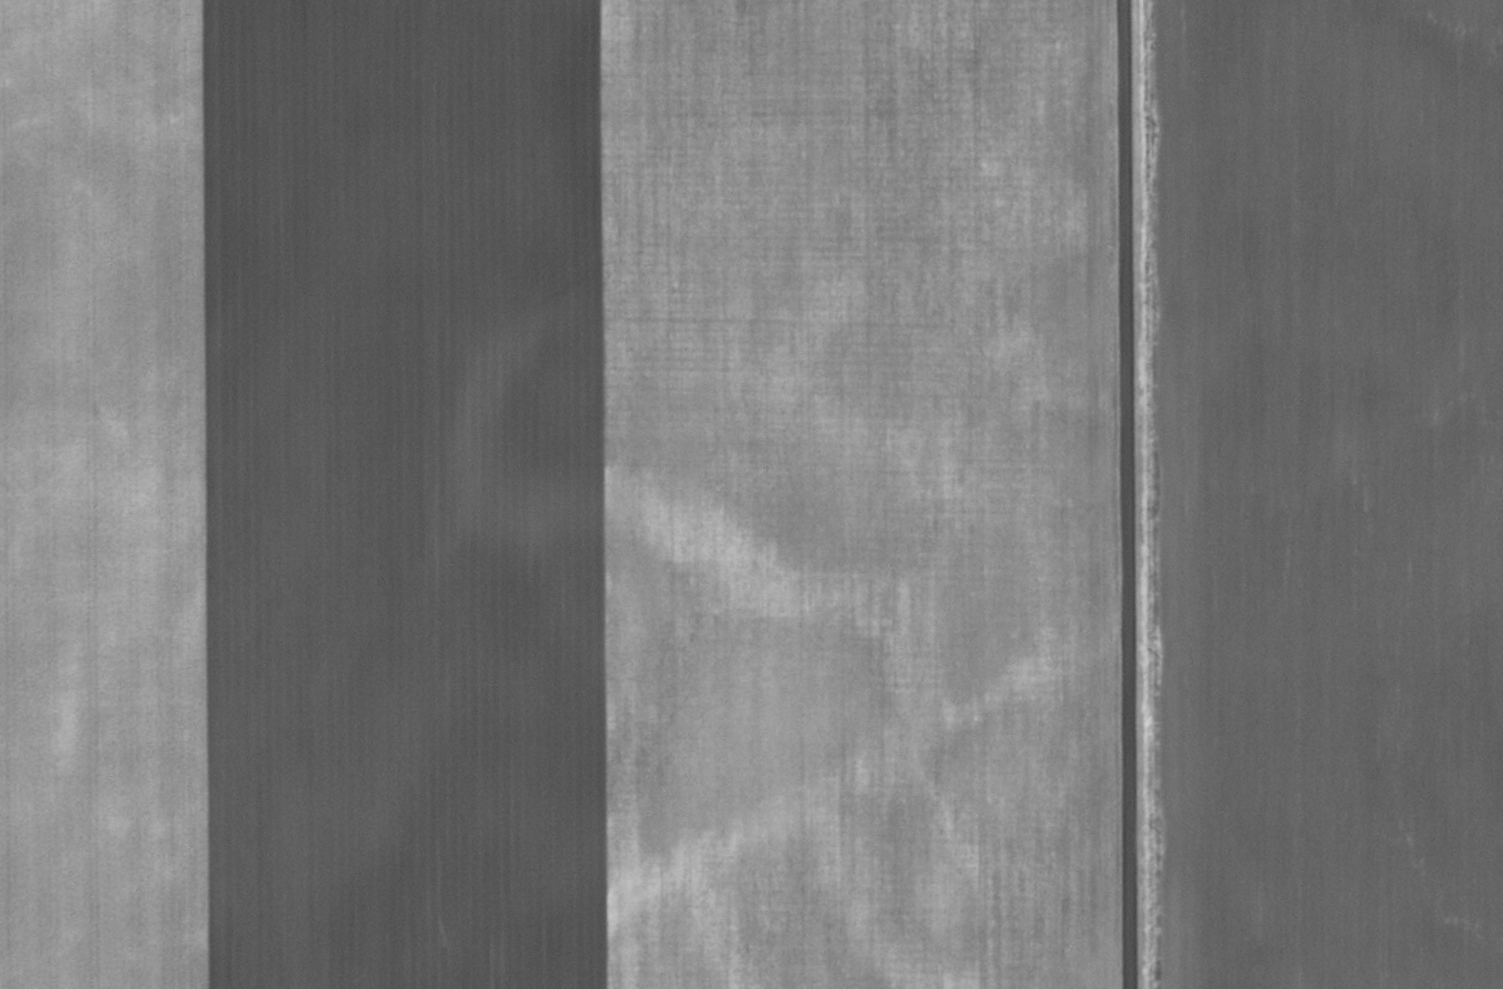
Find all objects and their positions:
road: (1126, 494)

